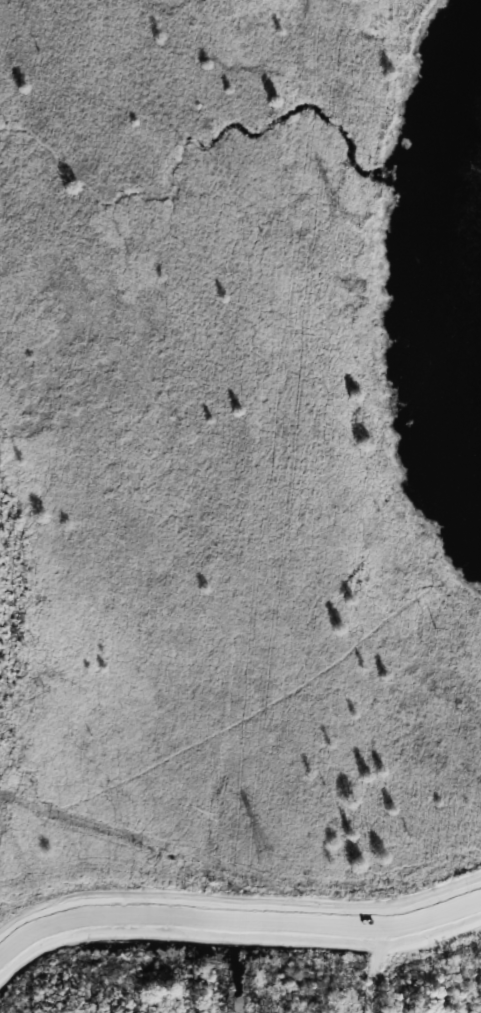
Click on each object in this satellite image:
power tower: (337, 217)
power tower: (268, 859)

